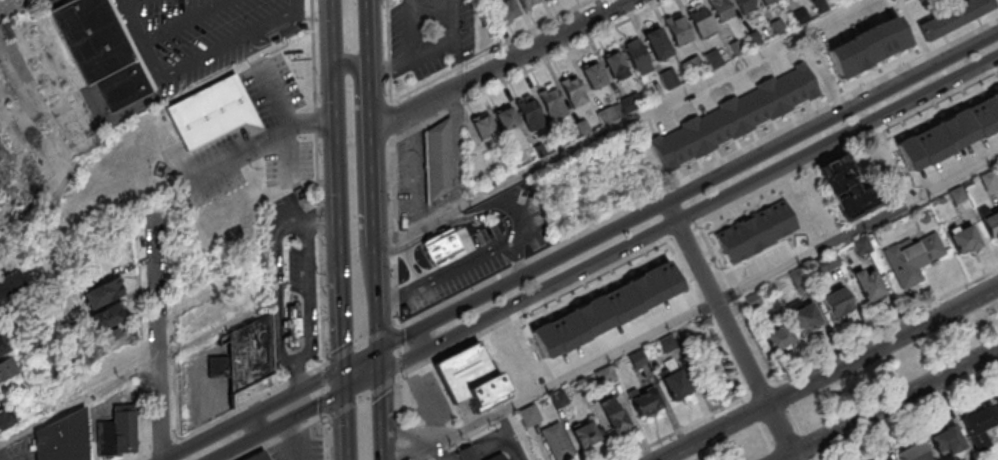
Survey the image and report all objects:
building: (547, 0)
road: (369, 1)
building: (767, 2)
building: (528, 3)
road: (122, 4)
road: (297, 6)
building: (744, 7)
building: (506, 9)
building: (721, 10)
road: (454, 14)
building: (955, 17)
building: (700, 21)
road: (414, 28)
building: (679, 31)
road: (336, 32)
road: (158, 33)
road: (369, 44)
building: (657, 44)
building: (100, 50)
road: (389, 51)
road: (490, 51)
road: (210, 54)
building: (636, 54)
building: (854, 54)
road: (415, 57)
building: (615, 65)
road: (502, 66)
road: (528, 70)
building: (593, 76)
building: (669, 80)
building: (573, 90)
building: (786, 100)
building: (552, 103)
building: (212, 112)
road: (631, 120)
road: (391, 121)
building: (510, 121)
building: (703, 129)
building: (956, 132)
road: (268, 139)
road: (848, 147)
building: (439, 163)
road: (373, 167)
road: (340, 171)
road: (698, 174)
road: (362, 177)
road: (706, 181)
building: (848, 190)
road: (689, 216)
road: (449, 222)
building: (991, 225)
road: (320, 230)
road: (684, 232)
road: (395, 234)
building: (966, 241)
building: (754, 244)
building: (436, 249)
parking lot: (485, 251)
road: (479, 253)
road: (520, 256)
building: (913, 259)
building: (10, 282)
building: (870, 285)
building: (103, 293)
road: (378, 297)
road: (389, 299)
building: (836, 303)
building: (609, 306)
road: (535, 309)
road: (700, 310)
building: (107, 317)
road: (707, 319)
building: (806, 319)
road: (345, 322)
building: (296, 327)
road: (732, 330)
road: (161, 336)
building: (779, 338)
building: (109, 339)
road: (398, 340)
road: (421, 342)
building: (5, 343)
road: (362, 344)
traffic signals: (380, 350)
road: (400, 353)
road: (364, 358)
building: (251, 360)
road: (380, 363)
building: (110, 365)
traffic signals: (348, 367)
building: (6, 368)
road: (829, 373)
traffic signals: (381, 376)
road: (348, 379)
building: (472, 379)
road: (365, 384)
building: (676, 385)
traffic signals: (349, 392)
road: (364, 400)
road: (80, 401)
building: (645, 402)
road: (254, 403)
road: (889, 404)
road: (381, 411)
road: (257, 413)
building: (529, 416)
building: (614, 416)
building: (6, 419)
road: (402, 419)
road: (280, 425)
road: (256, 426)
road: (349, 426)
building: (980, 426)
road: (762, 428)
road: (685, 429)
building: (119, 435)
road: (511, 435)
building: (586, 435)
road: (280, 437)
building: (64, 438)
road: (293, 441)
building: (557, 442)
building: (946, 442)
road: (162, 448)
road: (180, 450)
building: (914, 452)
road: (383, 453)
road: (428, 454)
building: (469, 455)
building: (259, 457)
road: (145, 458)
building: (502, 458)
building: (887, 458)

